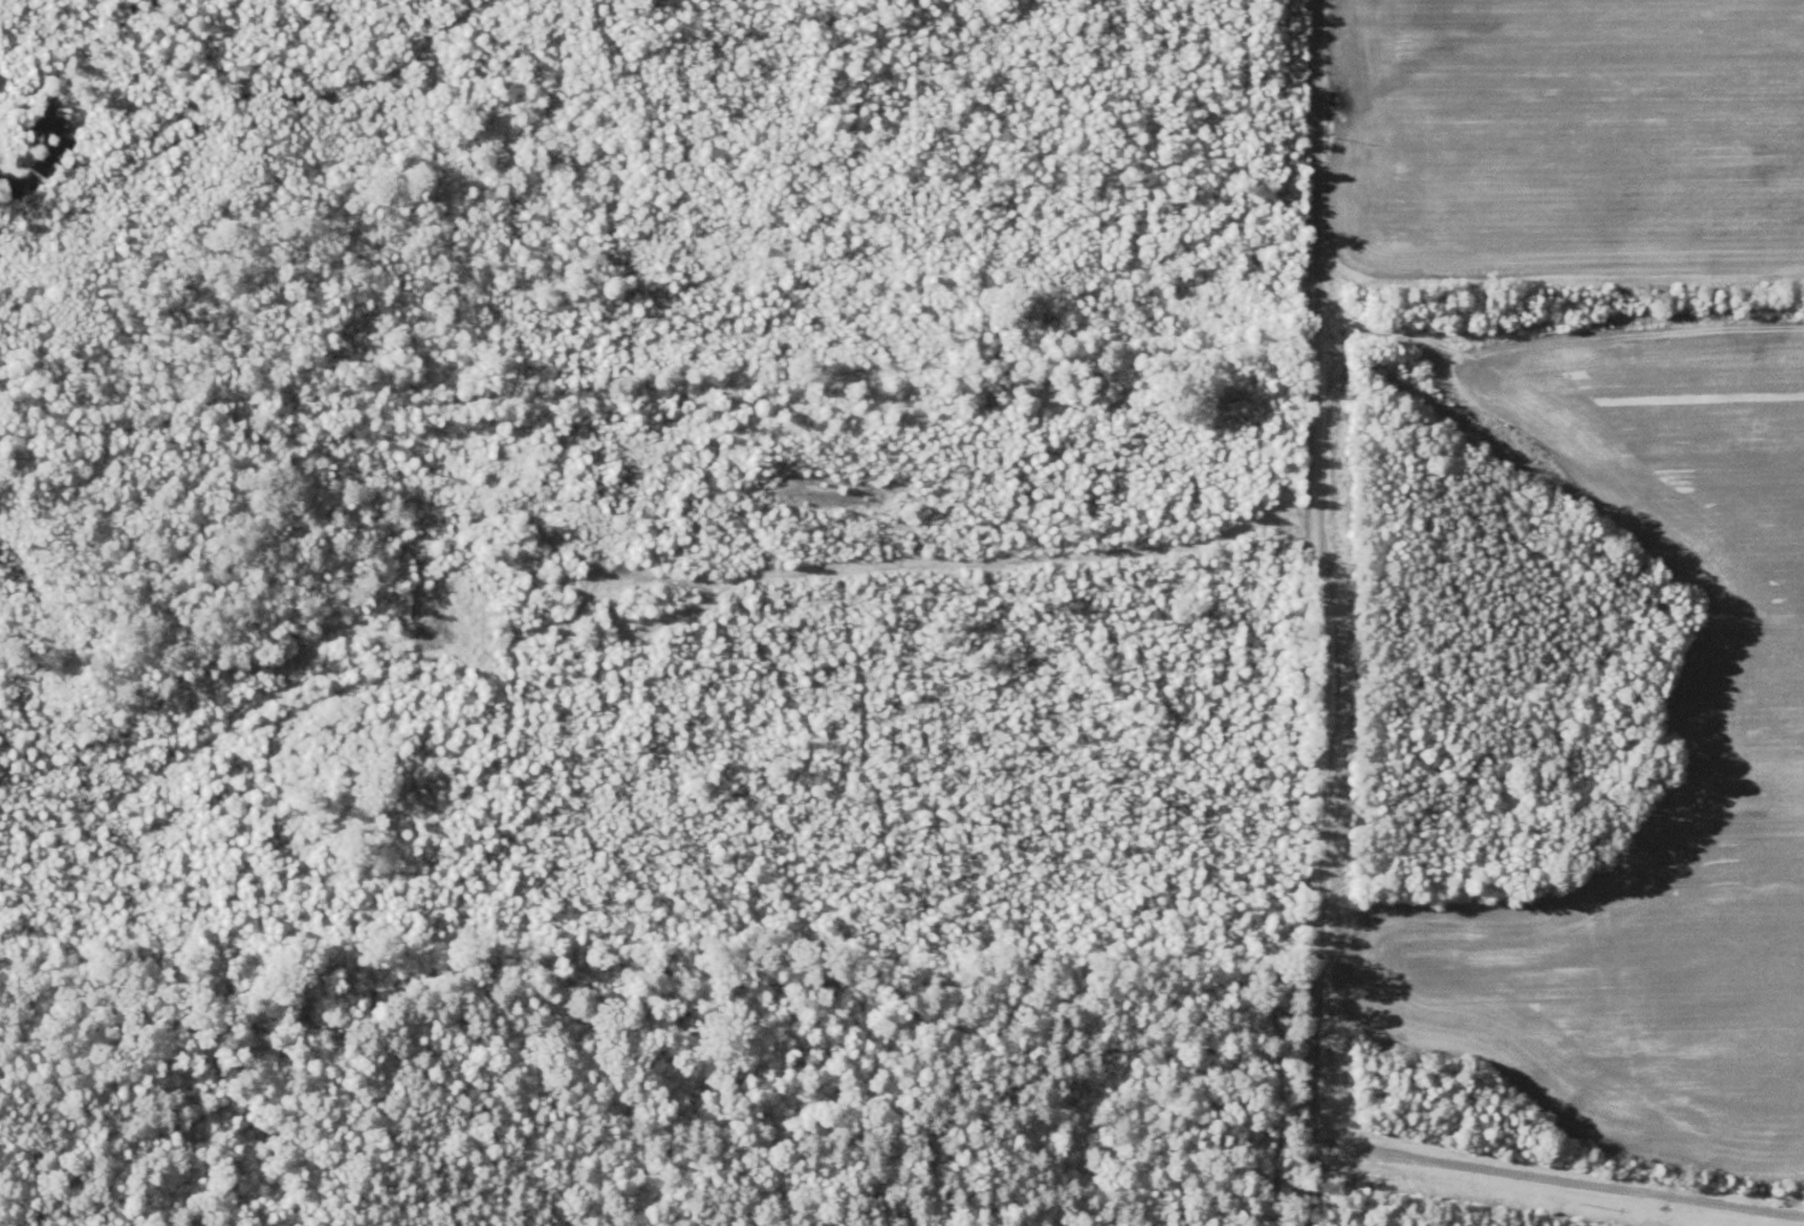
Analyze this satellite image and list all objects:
railway: (901, 368)
road: (1593, 385)
road: (1587, 514)
road: (1322, 612)

